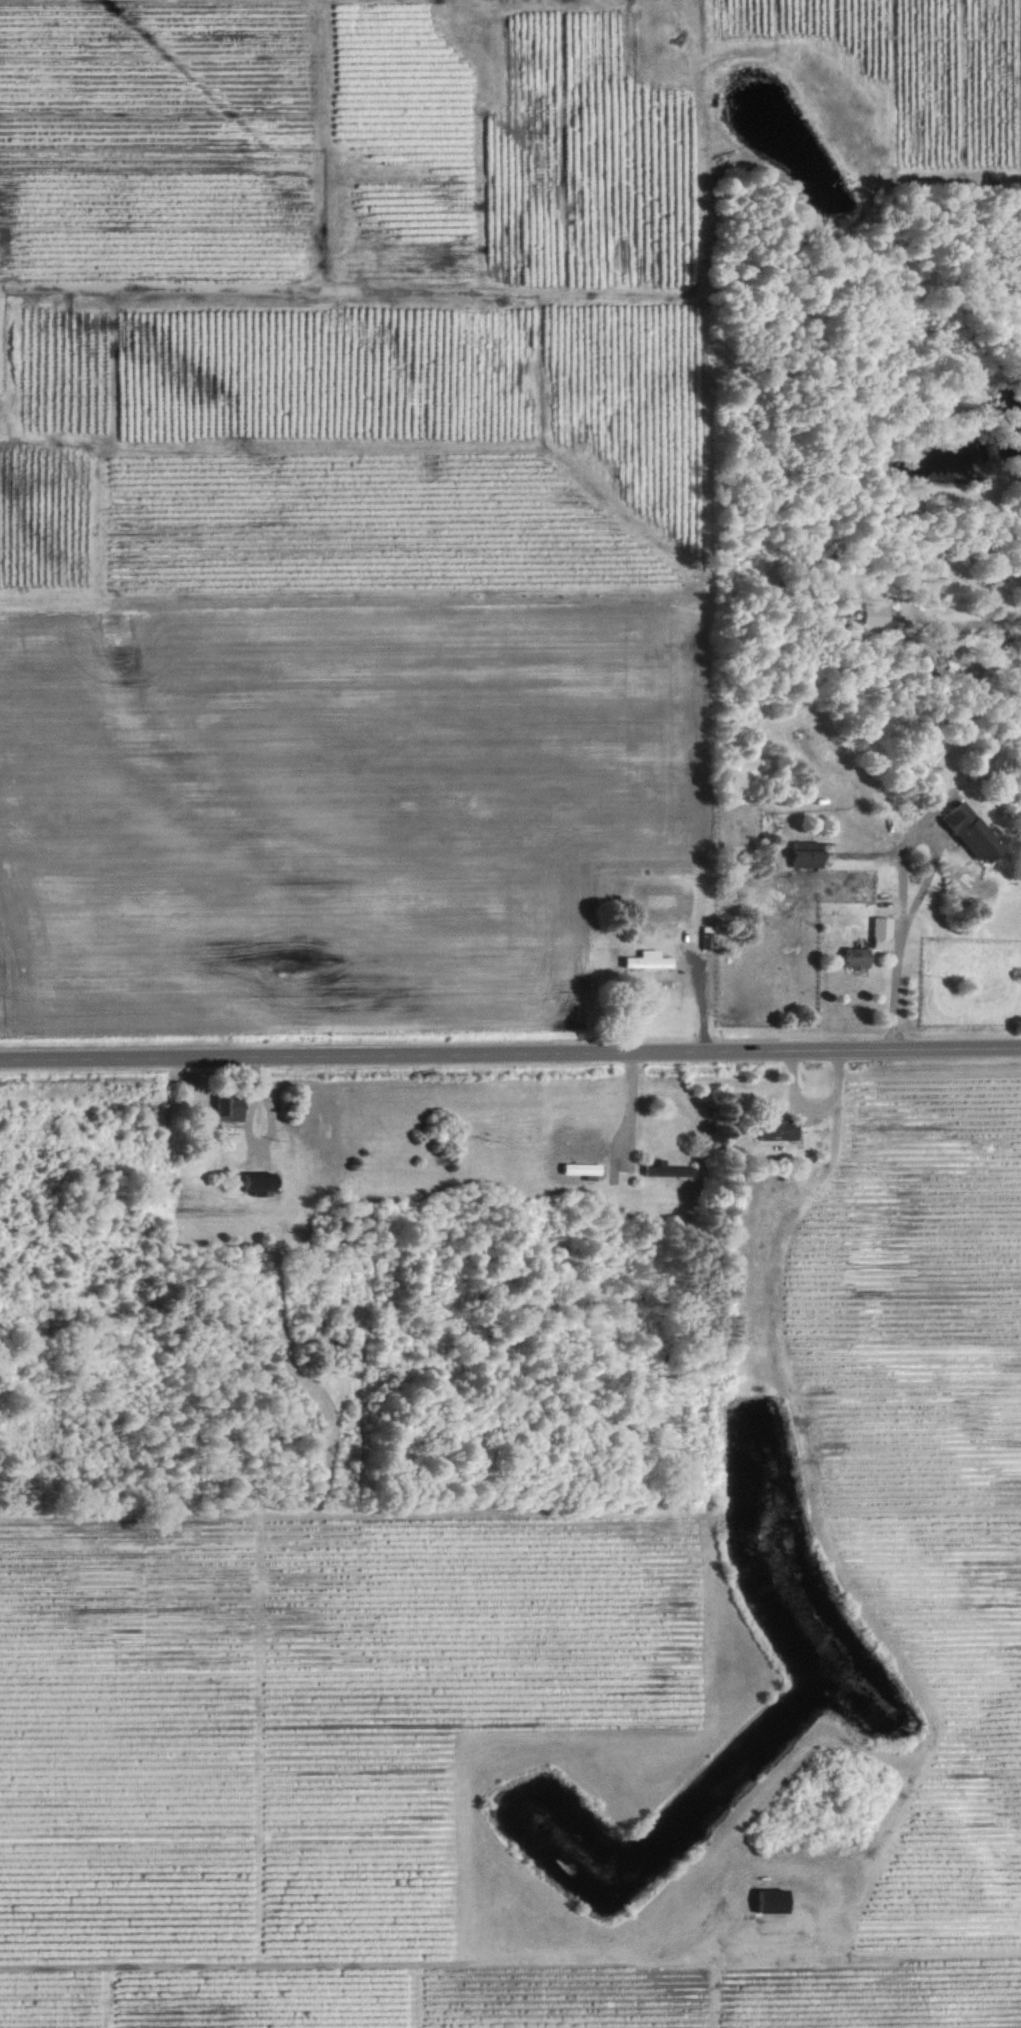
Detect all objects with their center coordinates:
building: (871, 614)
road: (962, 619)
building: (967, 832)
building: (801, 854)
road: (893, 883)
building: (877, 932)
building: (705, 936)
building: (852, 957)
building: (644, 960)
road: (705, 996)
road: (510, 1051)
road: (630, 1103)
building: (225, 1109)
building: (775, 1129)
building: (578, 1168)
building: (666, 1170)
building: (254, 1181)
building: (766, 1901)

